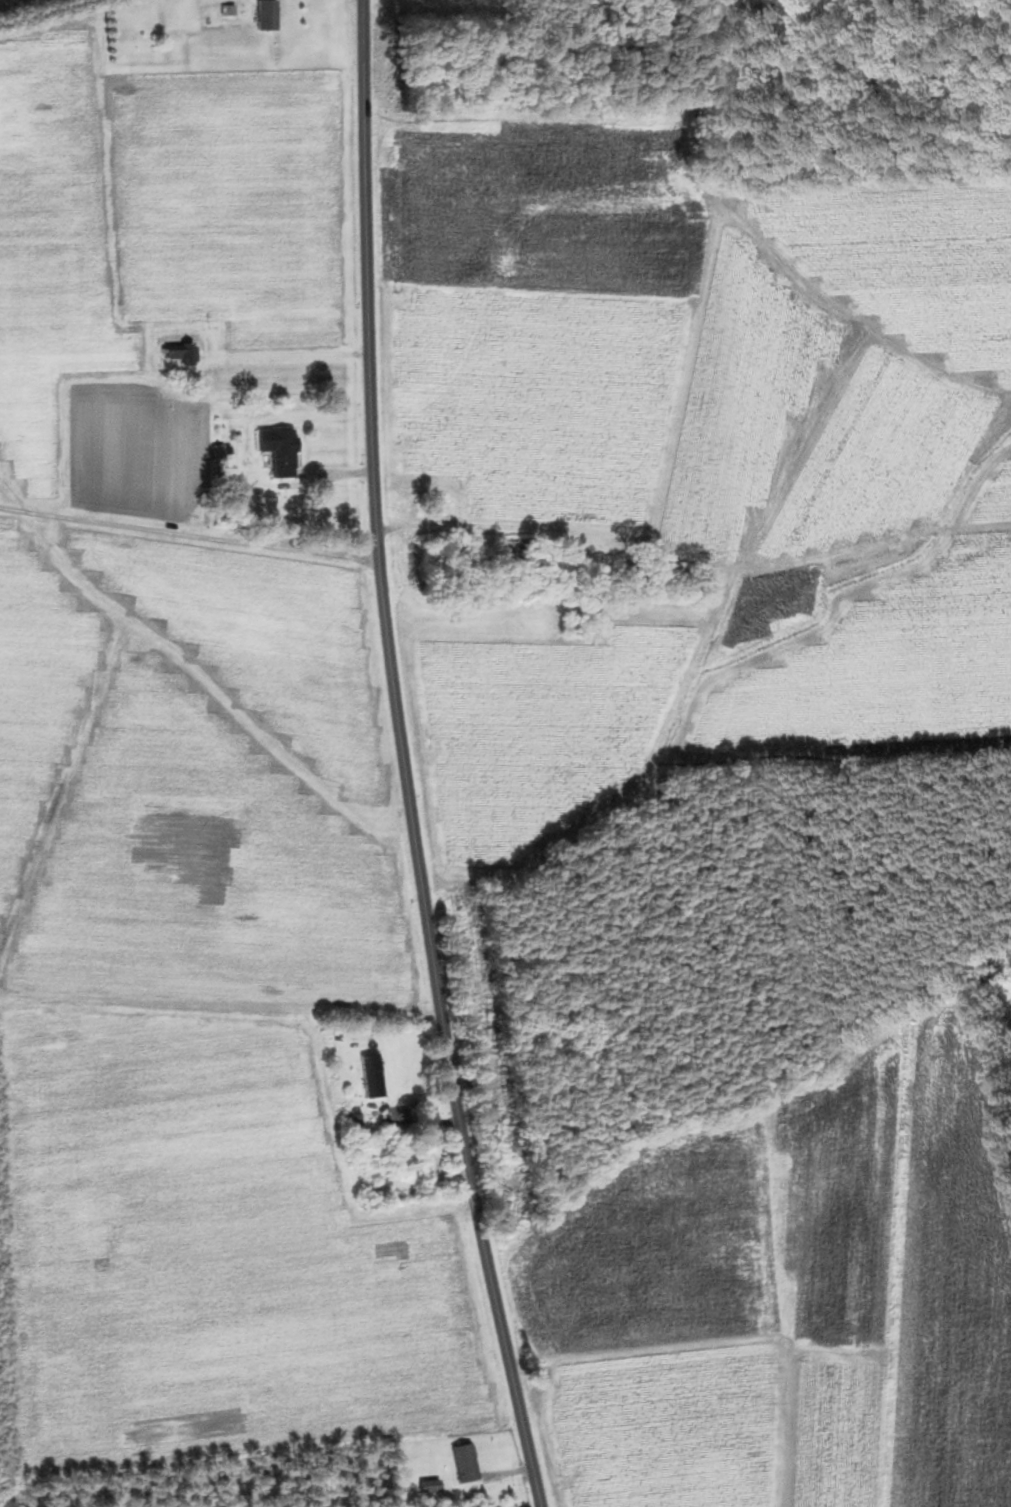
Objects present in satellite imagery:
building: (263, 15)
building: (178, 353)
building: (276, 451)
road: (187, 543)
building: (510, 560)
road: (402, 759)
building: (370, 1076)
building: (464, 1463)
building: (426, 1486)

